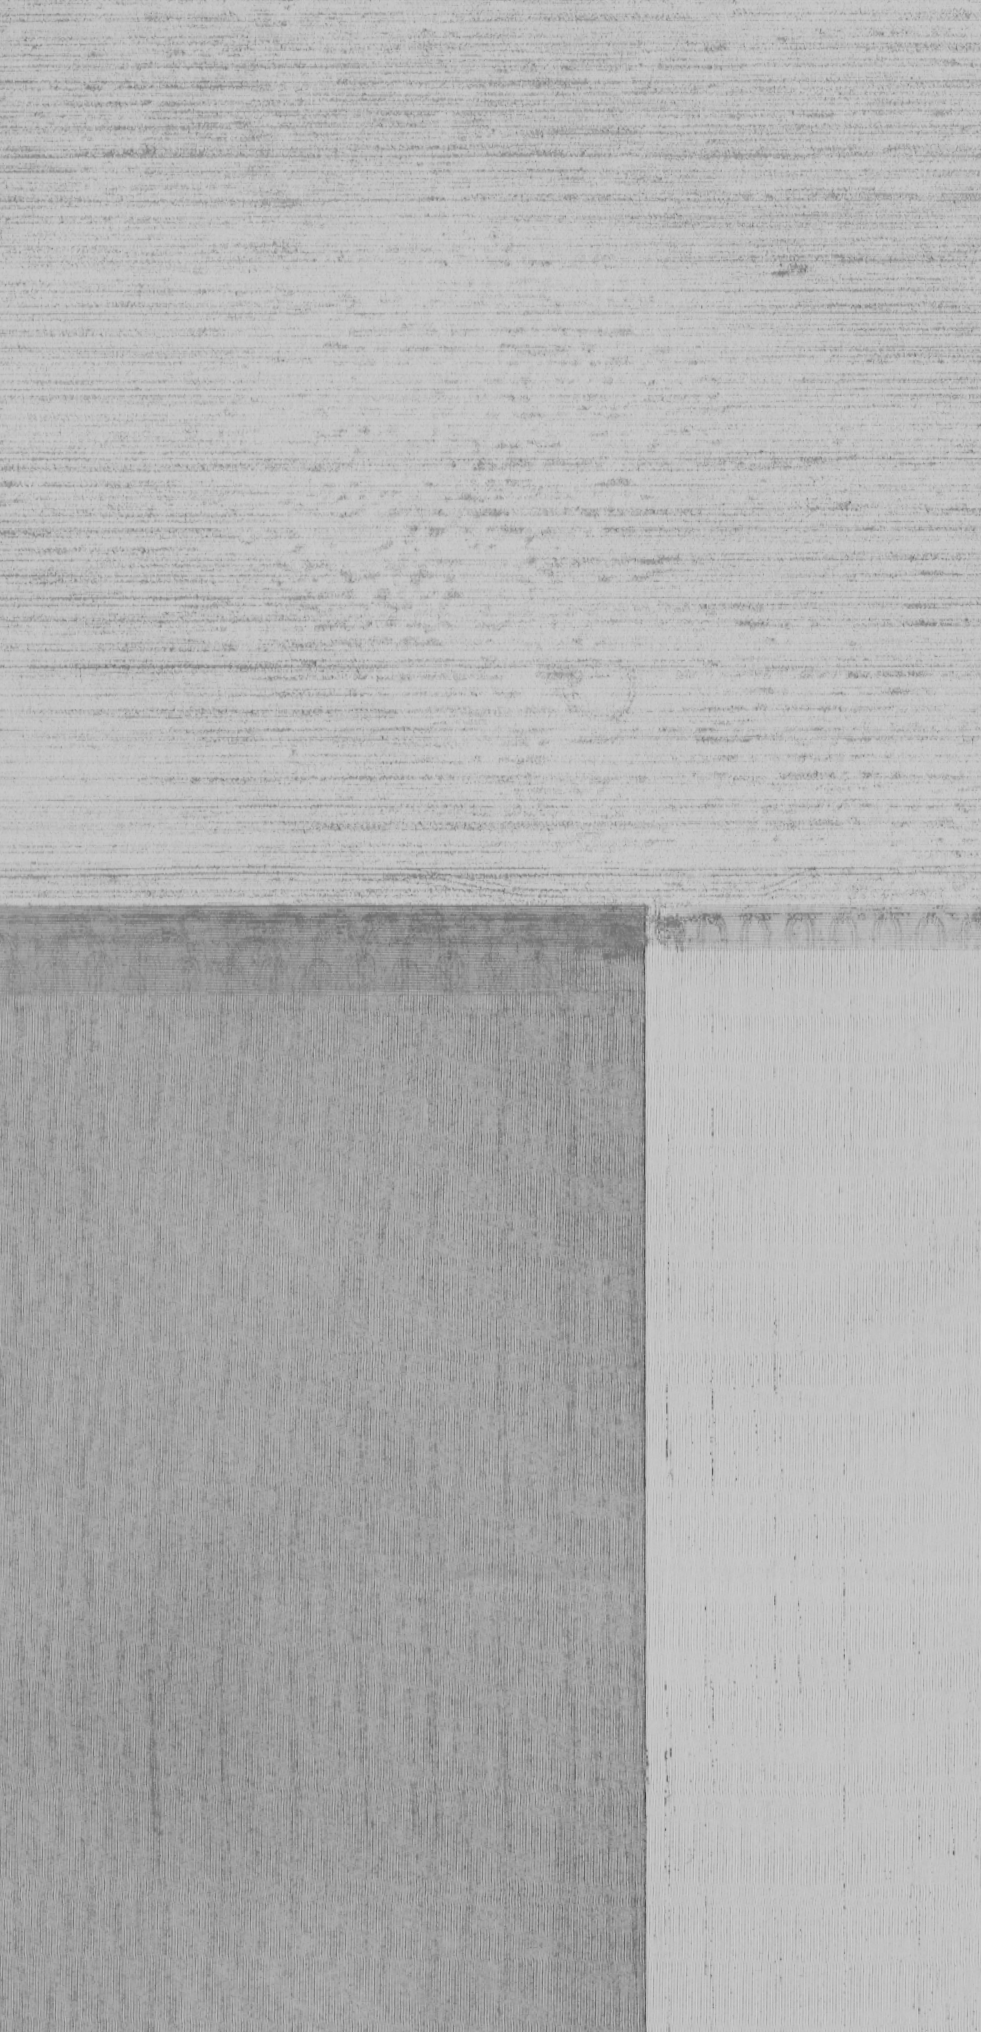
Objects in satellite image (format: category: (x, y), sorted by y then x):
crop: (490, 1016)

